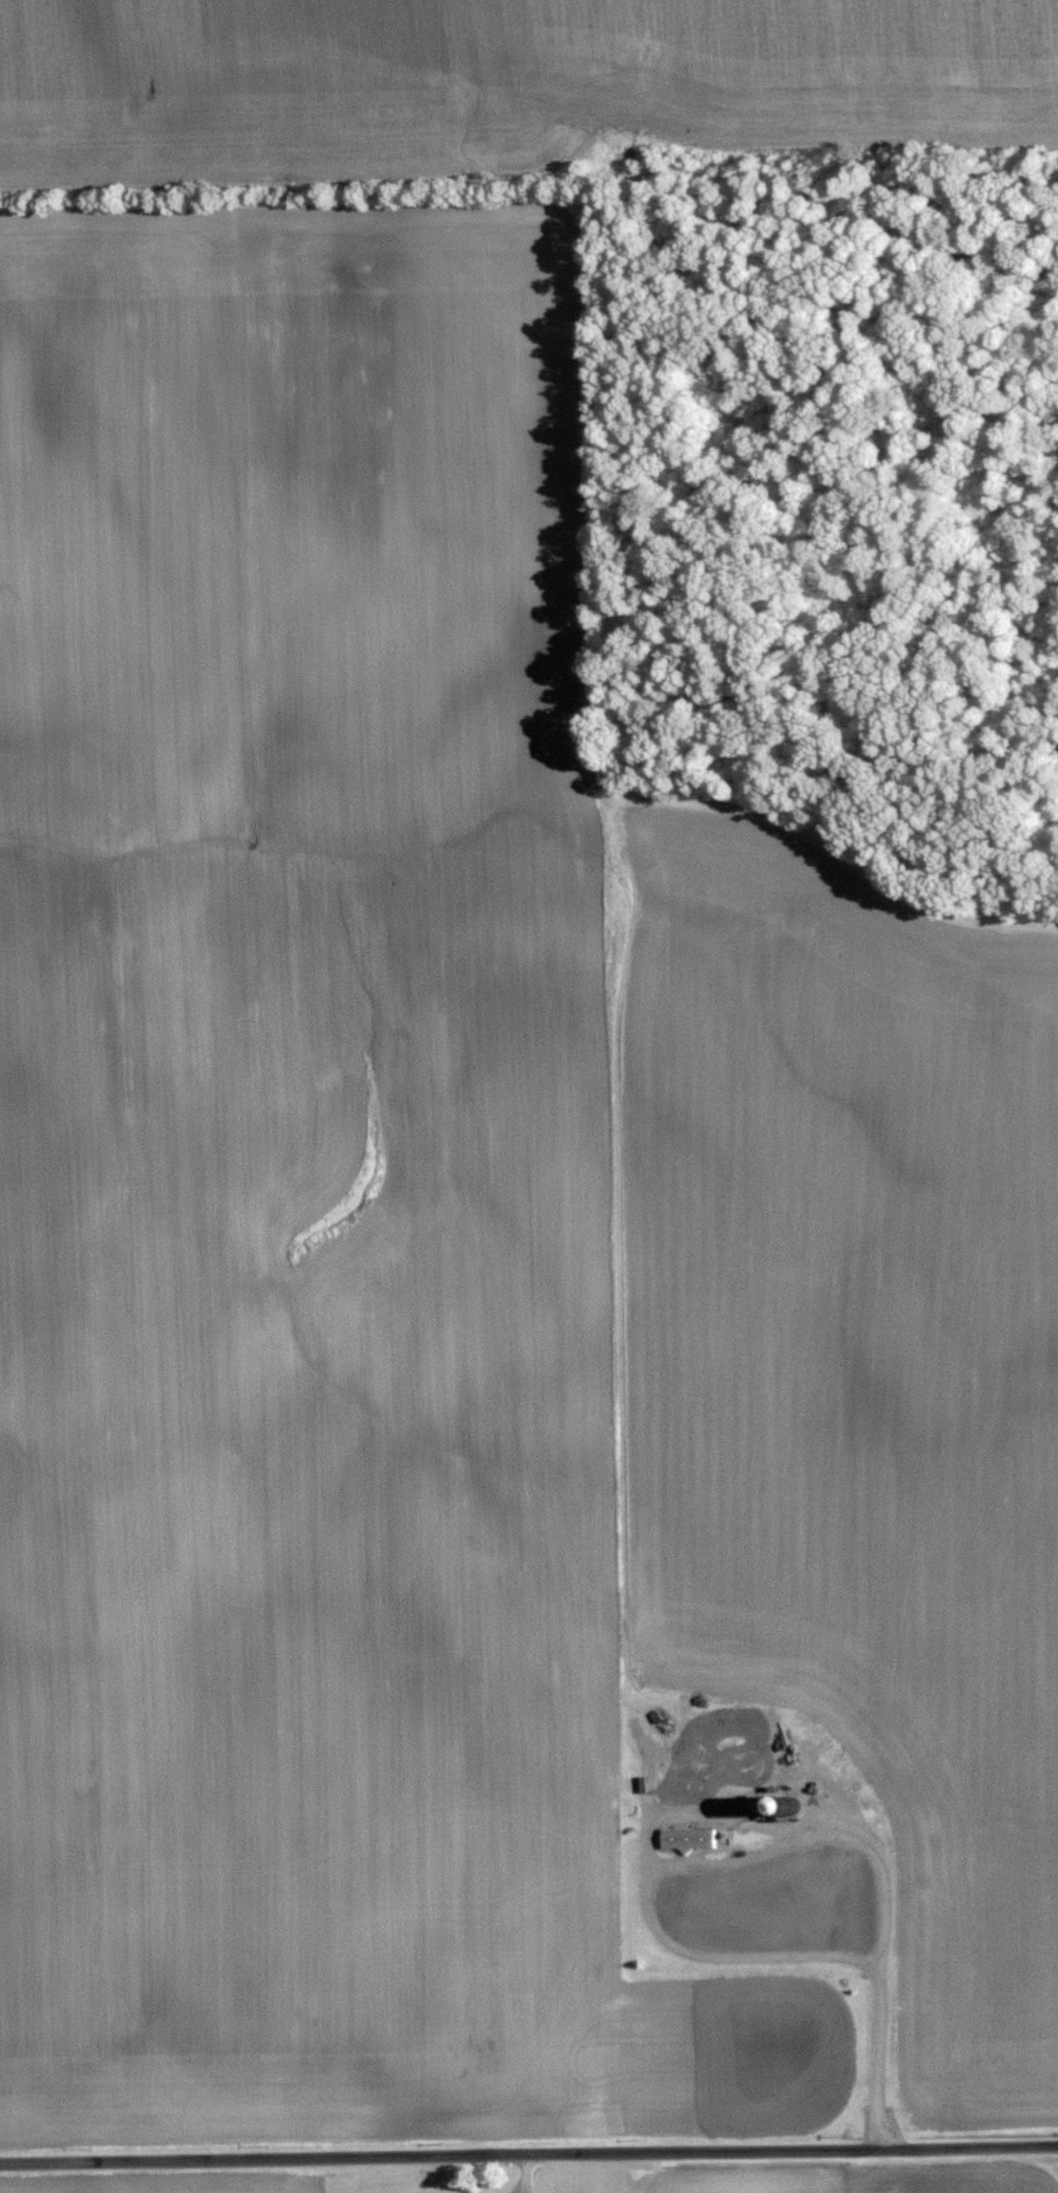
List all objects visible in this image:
building: (734, 1727)
building: (723, 1783)
building: (766, 1803)
building: (690, 1837)
building: (693, 1894)
road: (882, 1956)
road: (528, 2155)

